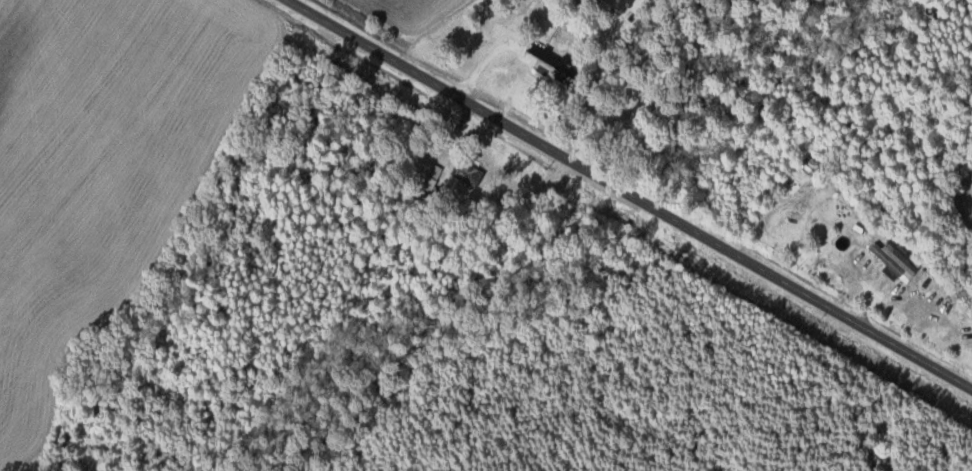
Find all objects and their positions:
building: (551, 65)
building: (466, 173)
road: (627, 197)
building: (894, 257)

